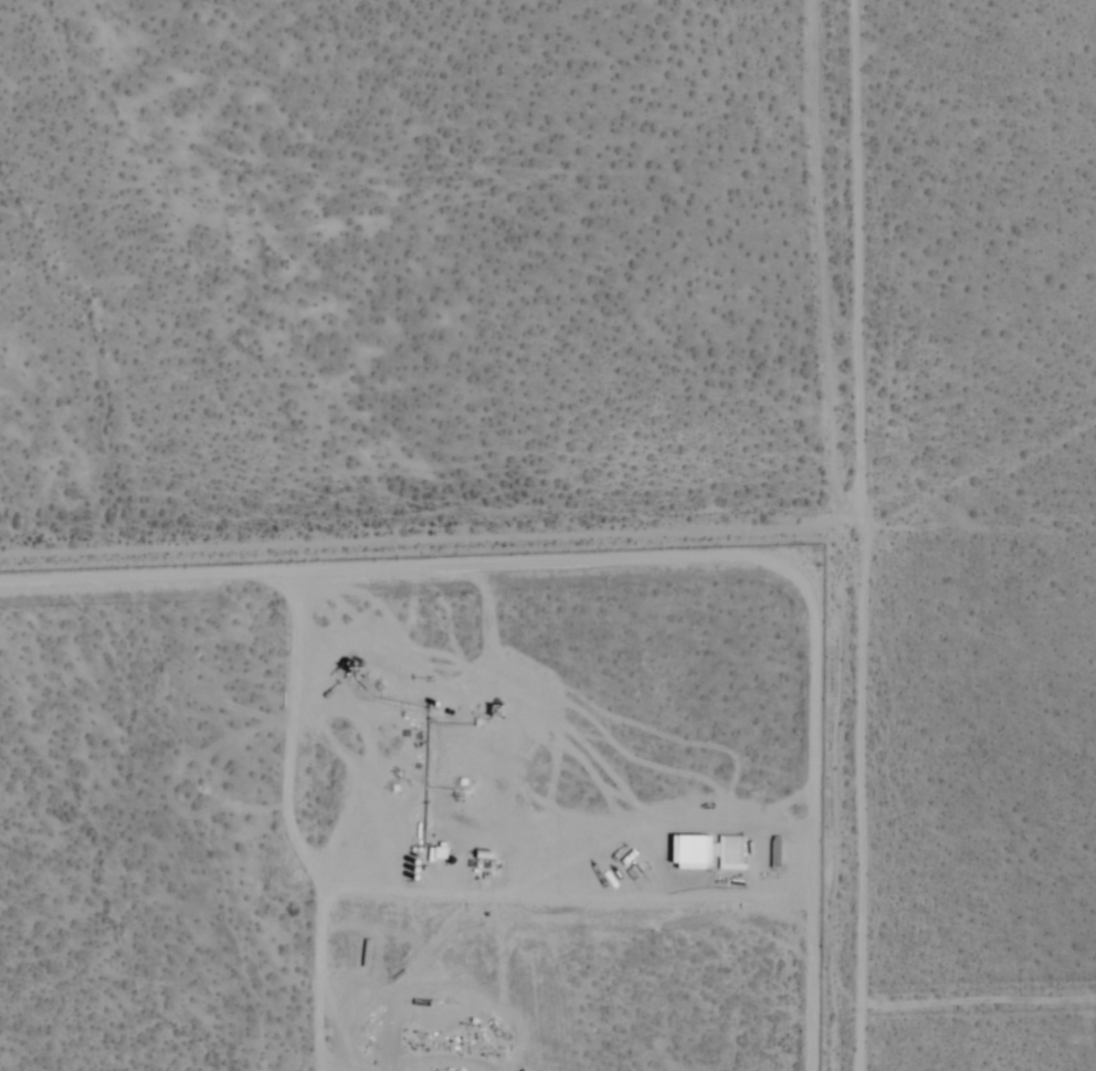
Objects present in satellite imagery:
road: (867, 535)
road: (436, 539)
airport: (417, 815)

